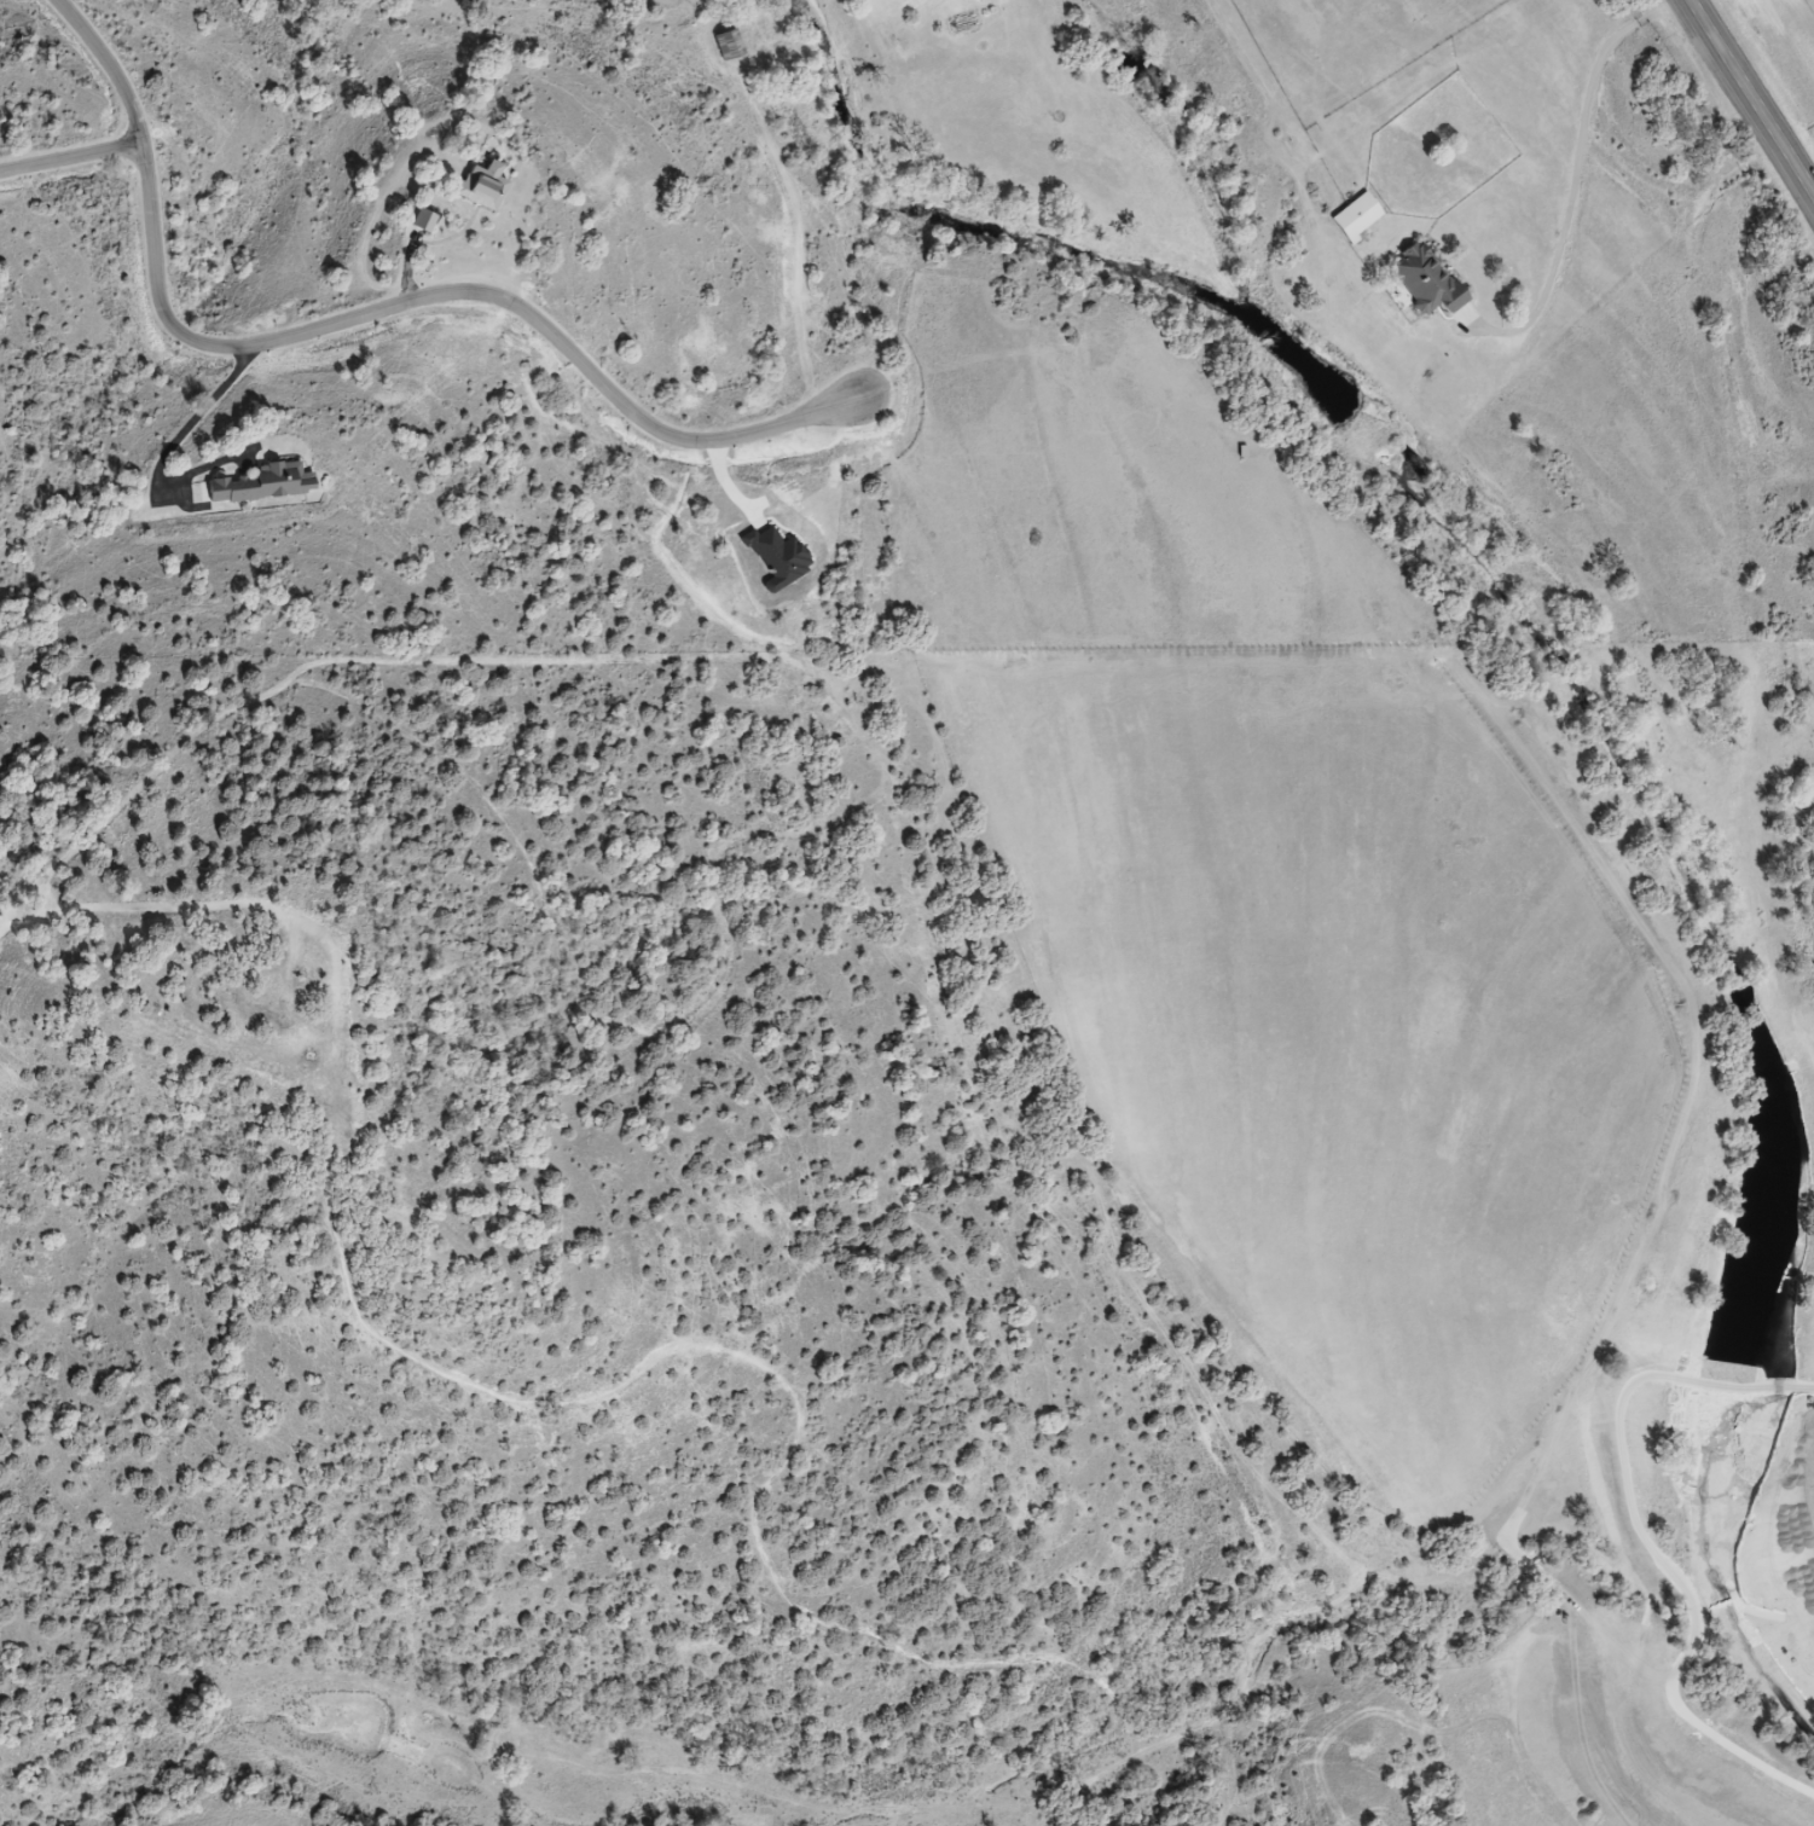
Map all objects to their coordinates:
building: (989, 1)
building: (730, 45)
road: (1754, 97)
road: (75, 167)
building: (487, 186)
building: (1362, 218)
building: (427, 221)
building: (1431, 280)
road: (370, 323)
road: (178, 452)
building: (260, 485)

